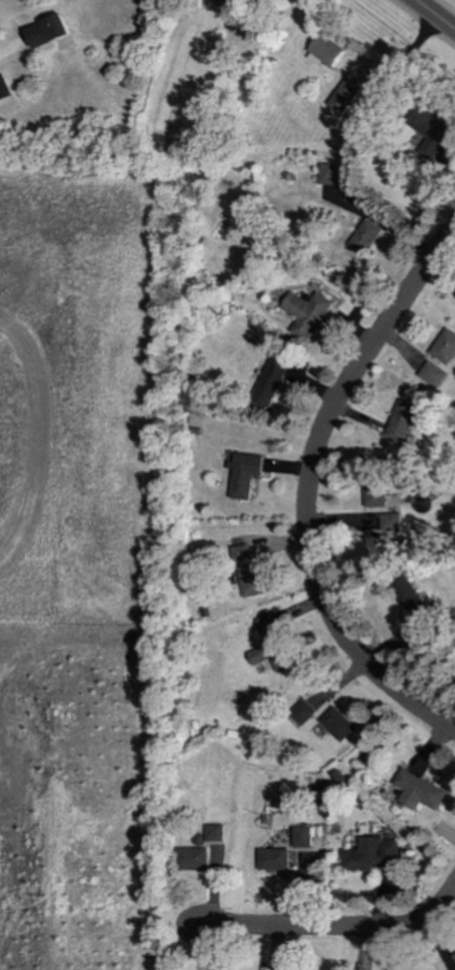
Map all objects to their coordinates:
building: (221, 0)
road: (434, 15)
building: (49, 31)
building: (322, 51)
building: (4, 89)
building: (342, 95)
building: (430, 132)
building: (327, 174)
building: (364, 236)
building: (305, 312)
building: (444, 347)
building: (432, 374)
building: (274, 379)
building: (401, 422)
building: (244, 474)
road: (308, 488)
building: (376, 493)
building: (390, 523)
building: (238, 553)
quarry: (85, 564)
building: (250, 581)
building: (408, 596)
building: (266, 623)
building: (301, 712)
building: (337, 724)
building: (418, 790)
building: (213, 833)
building: (301, 836)
building: (371, 854)
building: (193, 859)
building: (272, 859)
road: (334, 927)
building: (454, 956)

